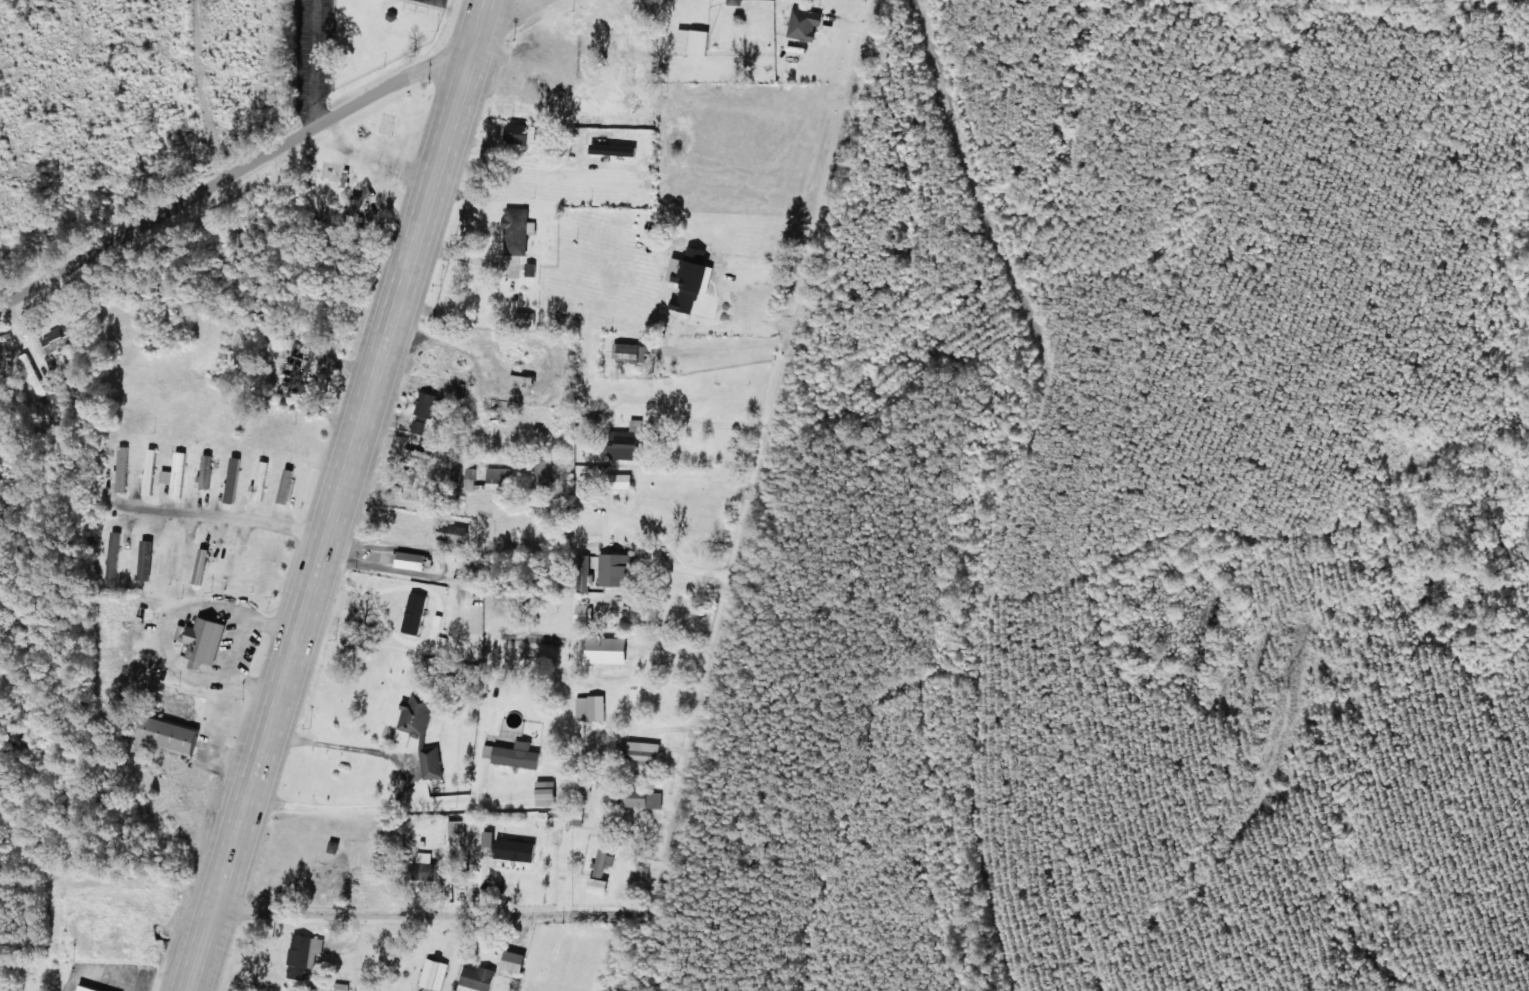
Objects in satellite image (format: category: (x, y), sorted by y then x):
building: (732, 2)
building: (802, 24)
building: (689, 41)
building: (521, 134)
road: (271, 160)
building: (518, 231)
building: (56, 340)
building: (628, 352)
building: (300, 368)
building: (428, 403)
building: (420, 425)
building: (628, 442)
building: (152, 461)
building: (122, 469)
building: (207, 470)
building: (457, 473)
building: (544, 473)
building: (176, 475)
building: (471, 477)
building: (499, 477)
building: (233, 480)
building: (621, 480)
building: (286, 485)
building: (149, 487)
road: (339, 495)
road: (225, 520)
building: (454, 532)
building: (412, 560)
building: (202, 565)
building: (229, 566)
building: (617, 568)
building: (416, 613)
building: (586, 613)
building: (208, 638)
building: (609, 649)
road: (717, 671)
building: (592, 708)
building: (424, 730)
building: (172, 735)
building: (646, 751)
building: (515, 754)
building: (549, 793)
building: (641, 798)
building: (459, 830)
building: (519, 849)
building: (601, 864)
building: (426, 865)
building: (640, 873)
building: (602, 885)
building: (305, 955)
building: (517, 961)
building: (435, 974)
building: (481, 977)
building: (342, 987)
building: (89, 988)

